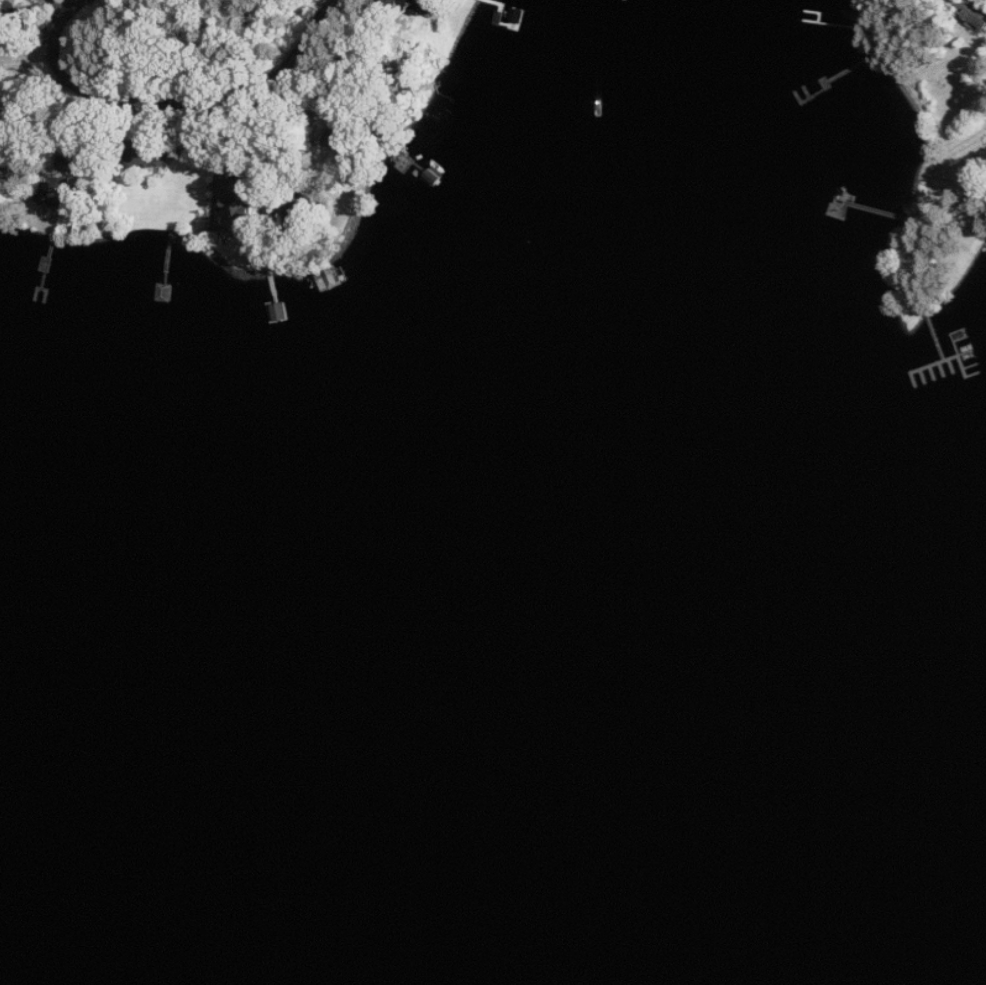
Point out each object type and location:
building: (974, 11)
road: (173, 99)
road: (261, 126)
building: (240, 184)
building: (66, 194)
building: (245, 209)

